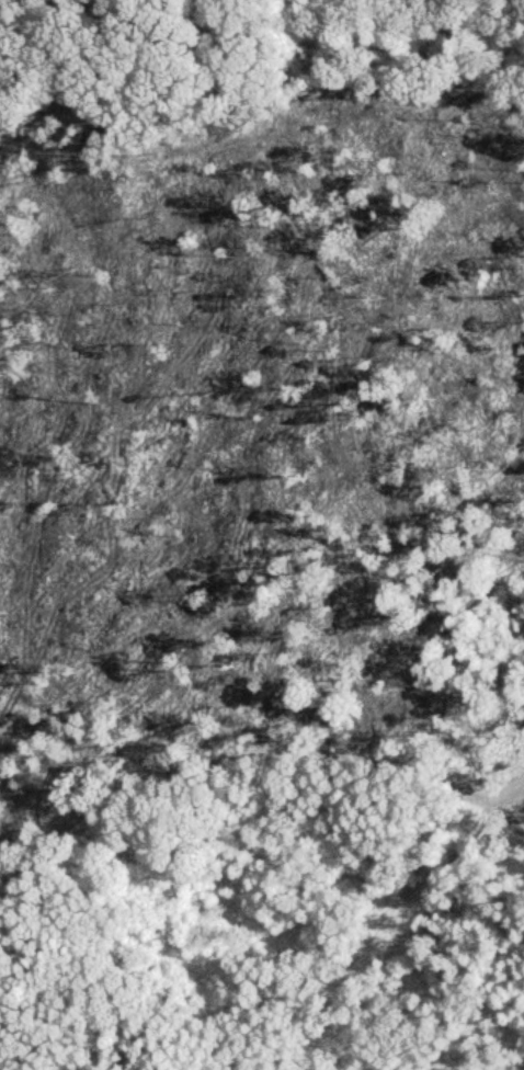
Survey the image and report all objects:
road: (166, 708)
road: (238, 753)

